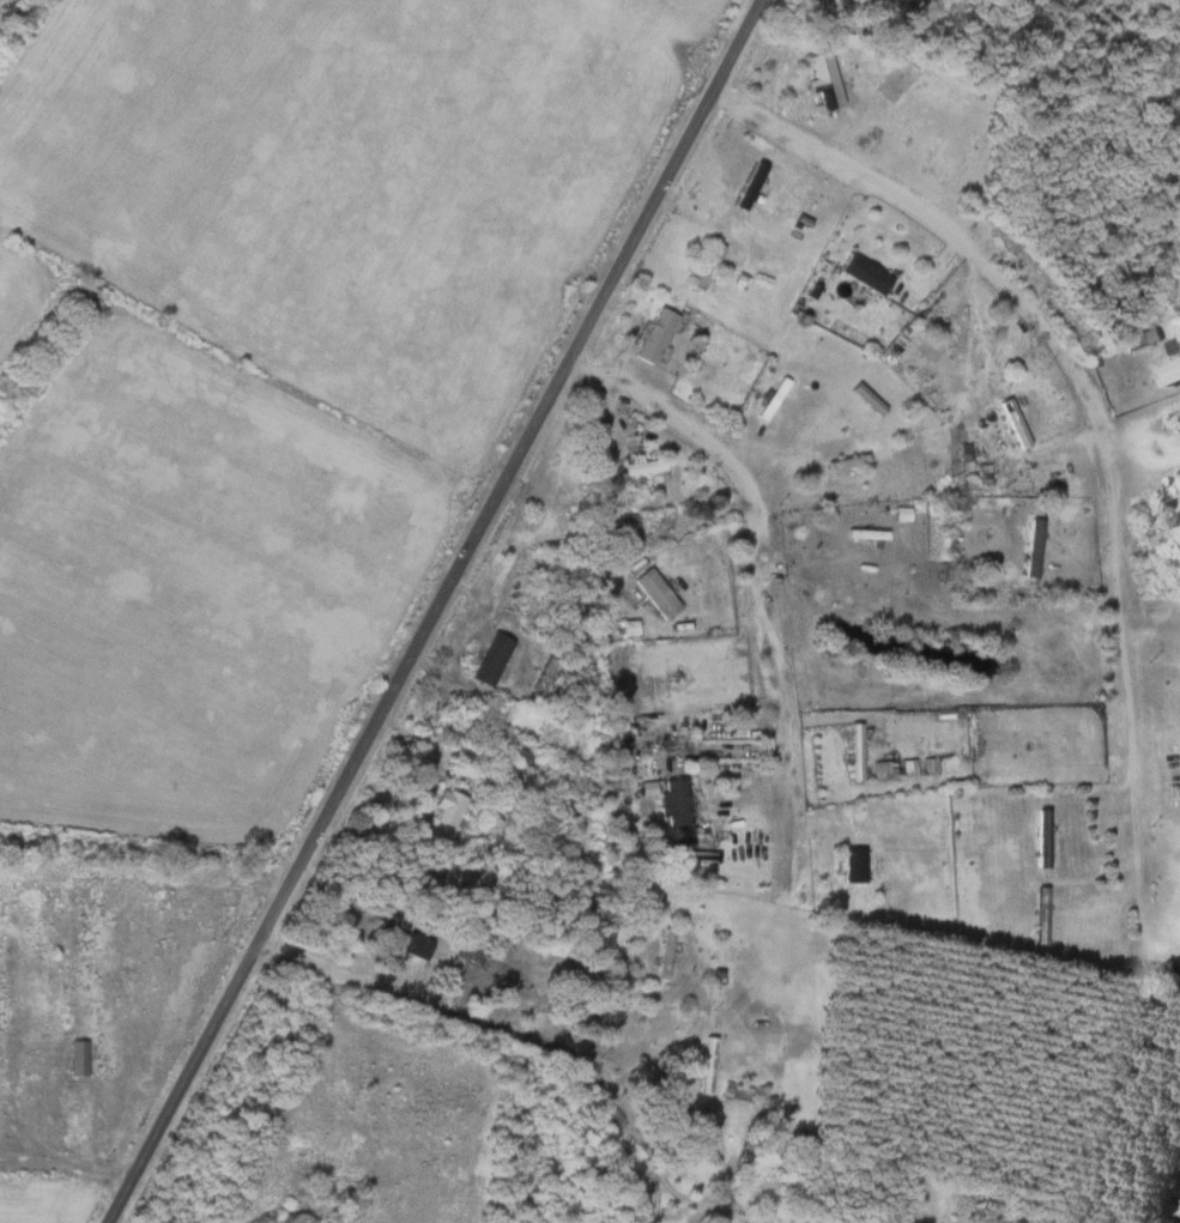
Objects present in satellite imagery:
building: (902, 75)
building: (823, 79)
building: (960, 161)
building: (751, 186)
building: (708, 267)
building: (865, 274)
building: (85, 290)
building: (654, 337)
building: (955, 337)
building: (1167, 371)
building: (773, 399)
road: (1097, 417)
building: (1015, 424)
road: (720, 455)
building: (849, 462)
building: (641, 466)
building: (866, 534)
building: (1161, 535)
building: (629, 537)
building: (1033, 547)
building: (543, 571)
building: (655, 593)
road: (431, 611)
building: (491, 660)
building: (855, 751)
building: (674, 805)
building: (448, 809)
building: (1042, 838)
building: (853, 866)
building: (407, 940)
building: (666, 953)
road: (510, 1034)
building: (78, 1058)
building: (708, 1065)
building: (730, 1090)

